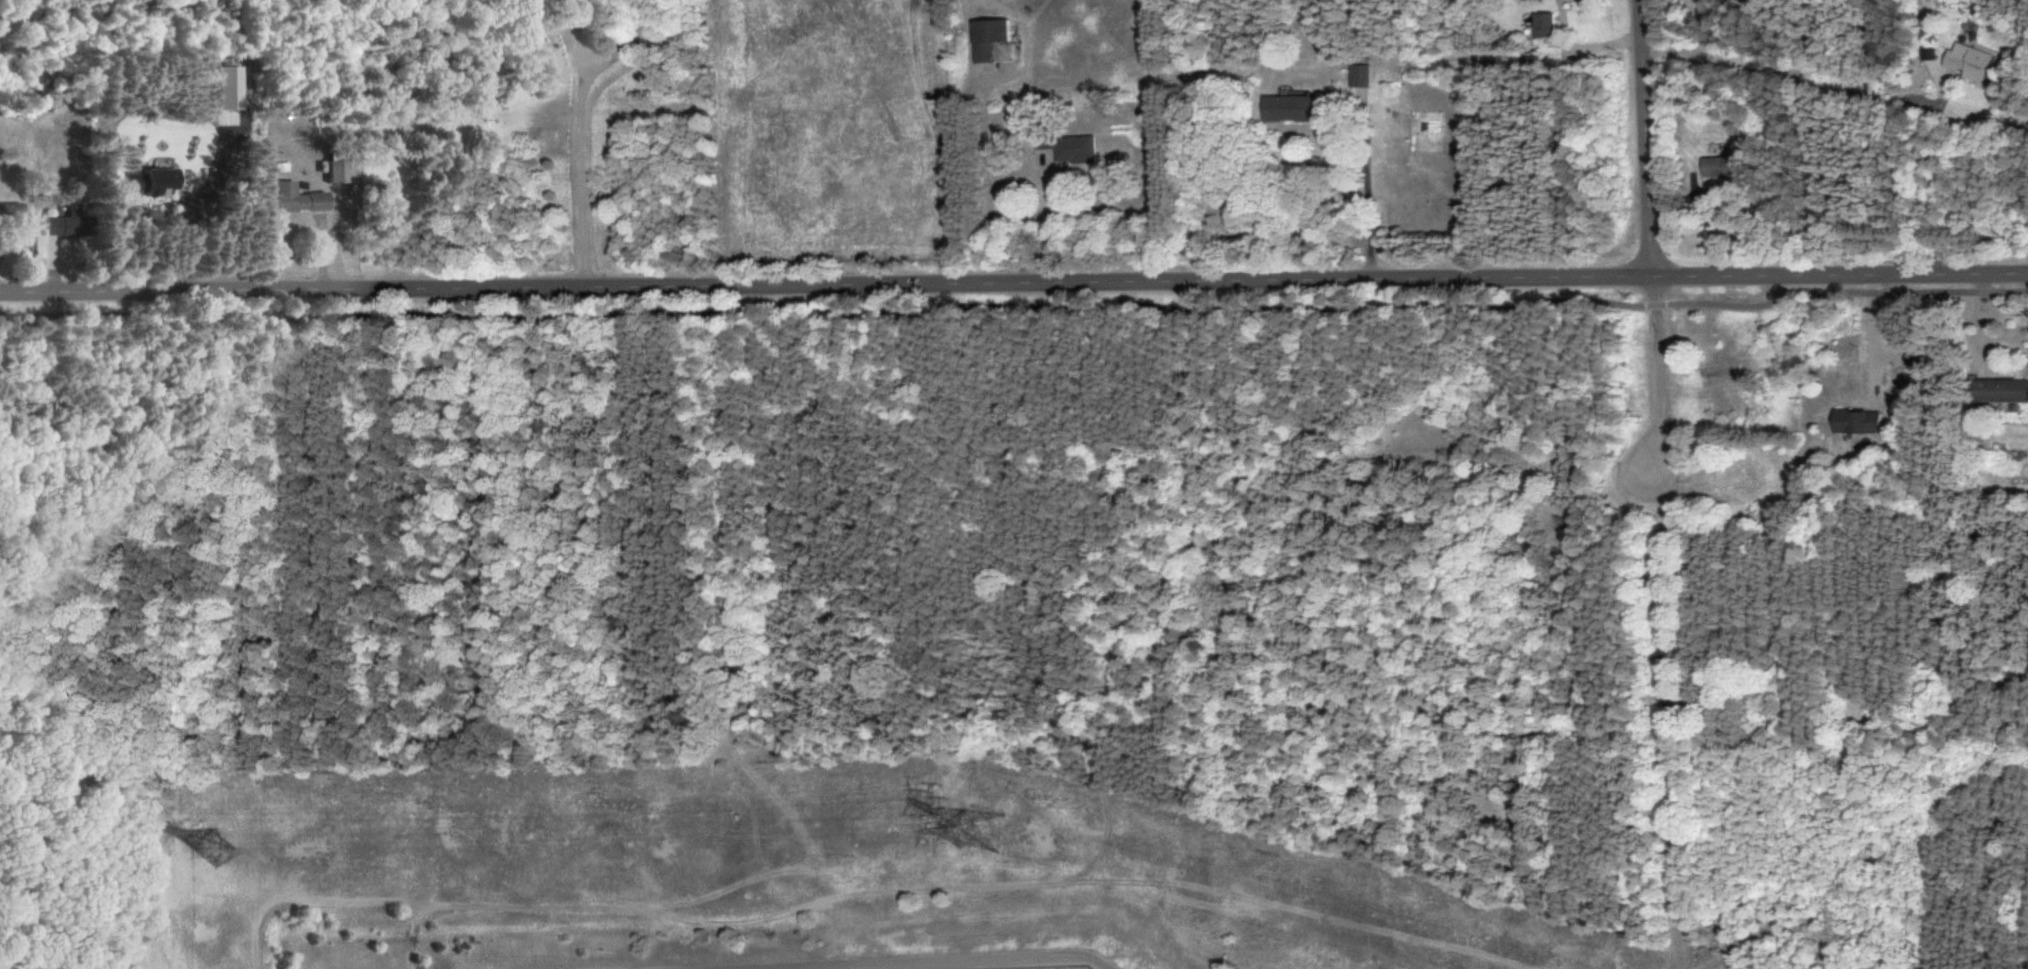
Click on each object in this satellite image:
building: (1541, 25)
building: (984, 38)
road: (1579, 47)
building: (1965, 61)
building: (1356, 75)
building: (225, 88)
building: (48, 99)
building: (1285, 108)
road: (292, 137)
road: (575, 142)
building: (1072, 149)
building: (1713, 166)
building: (334, 171)
road: (1916, 175)
building: (147, 181)
road: (1361, 187)
building: (294, 198)
building: (9, 211)
building: (61, 222)
road: (1045, 222)
road: (1650, 249)
road: (1014, 278)
road: (1015, 309)
road: (1868, 338)
building: (1998, 389)
building: (1852, 420)
power tower: (985, 831)
power tower: (213, 843)

